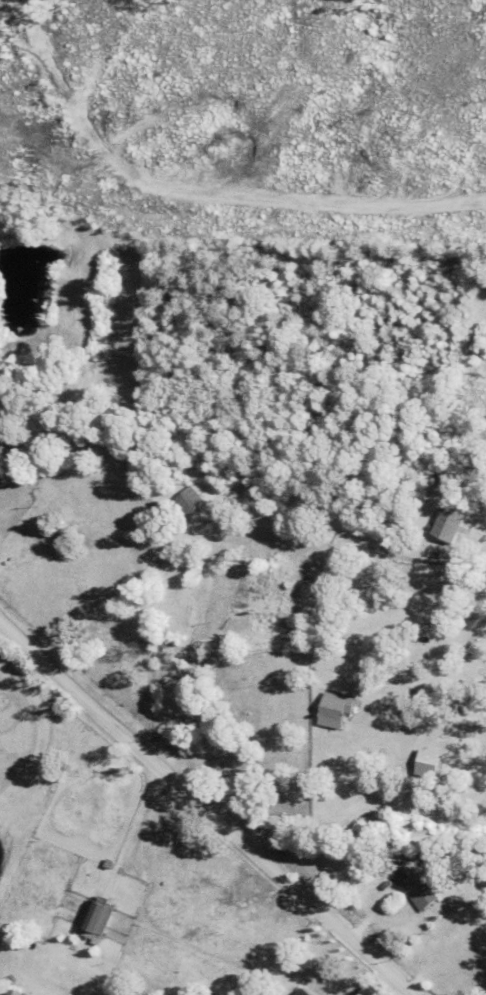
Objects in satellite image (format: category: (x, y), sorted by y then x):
road: (197, 188)
building: (188, 503)
building: (444, 527)
building: (254, 603)
road: (189, 636)
building: (332, 711)
building: (352, 731)
building: (427, 764)
road: (202, 811)
road: (127, 821)
building: (419, 896)
building: (89, 918)
building: (478, 939)
building: (299, 992)
building: (5, 993)

